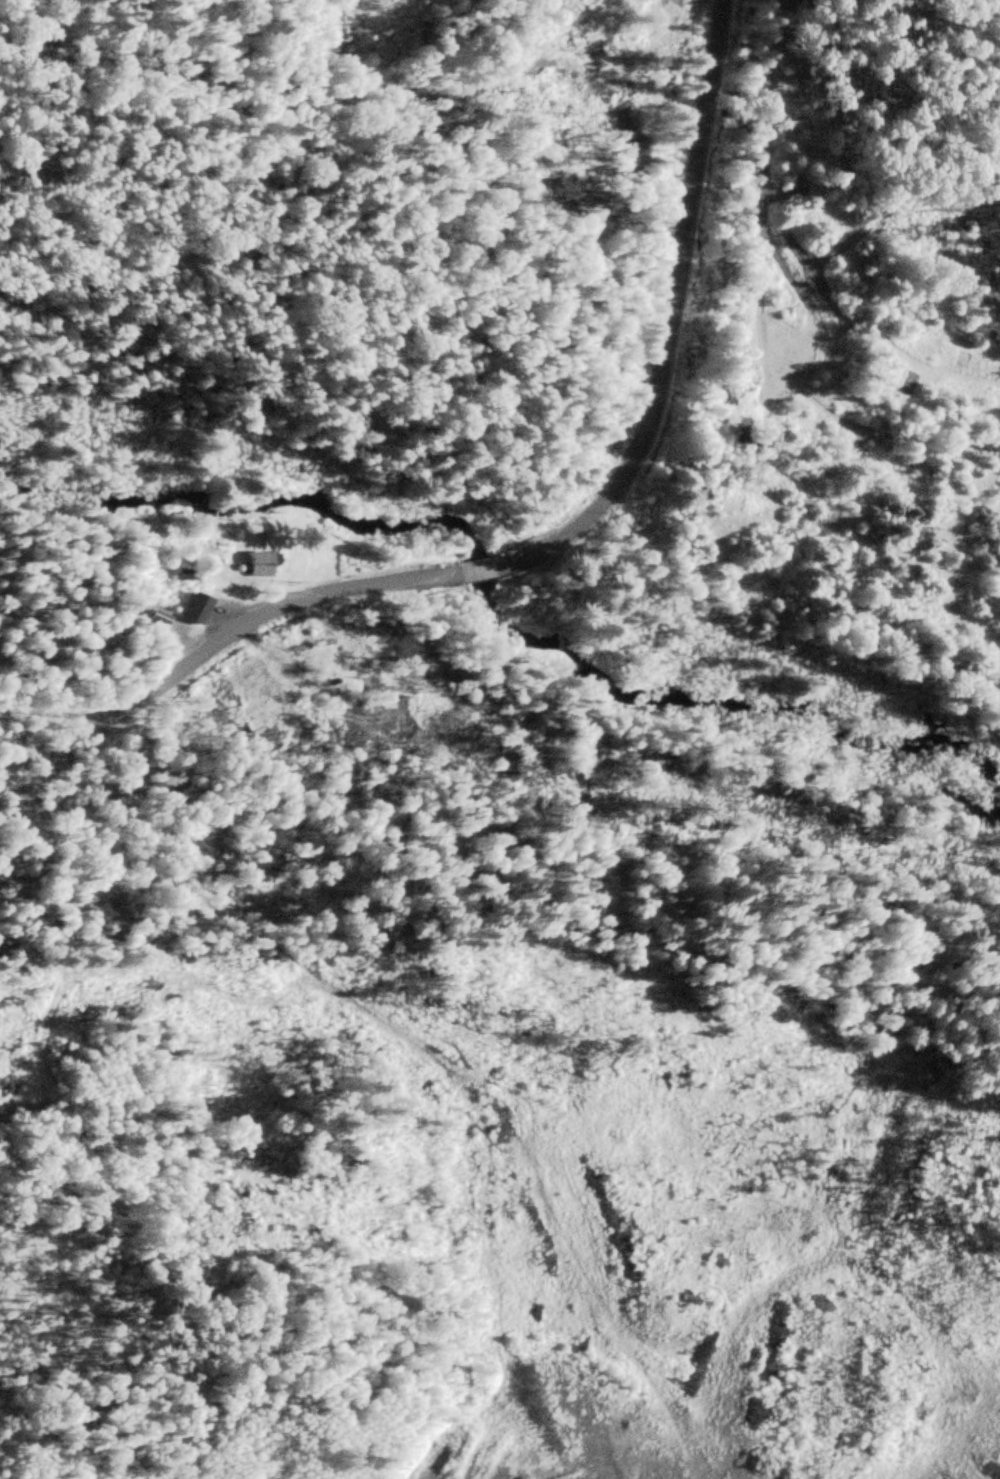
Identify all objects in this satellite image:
road: (849, 152)
road: (548, 532)
building: (251, 566)
building: (174, 618)
road: (5, 711)
road: (415, 1057)

